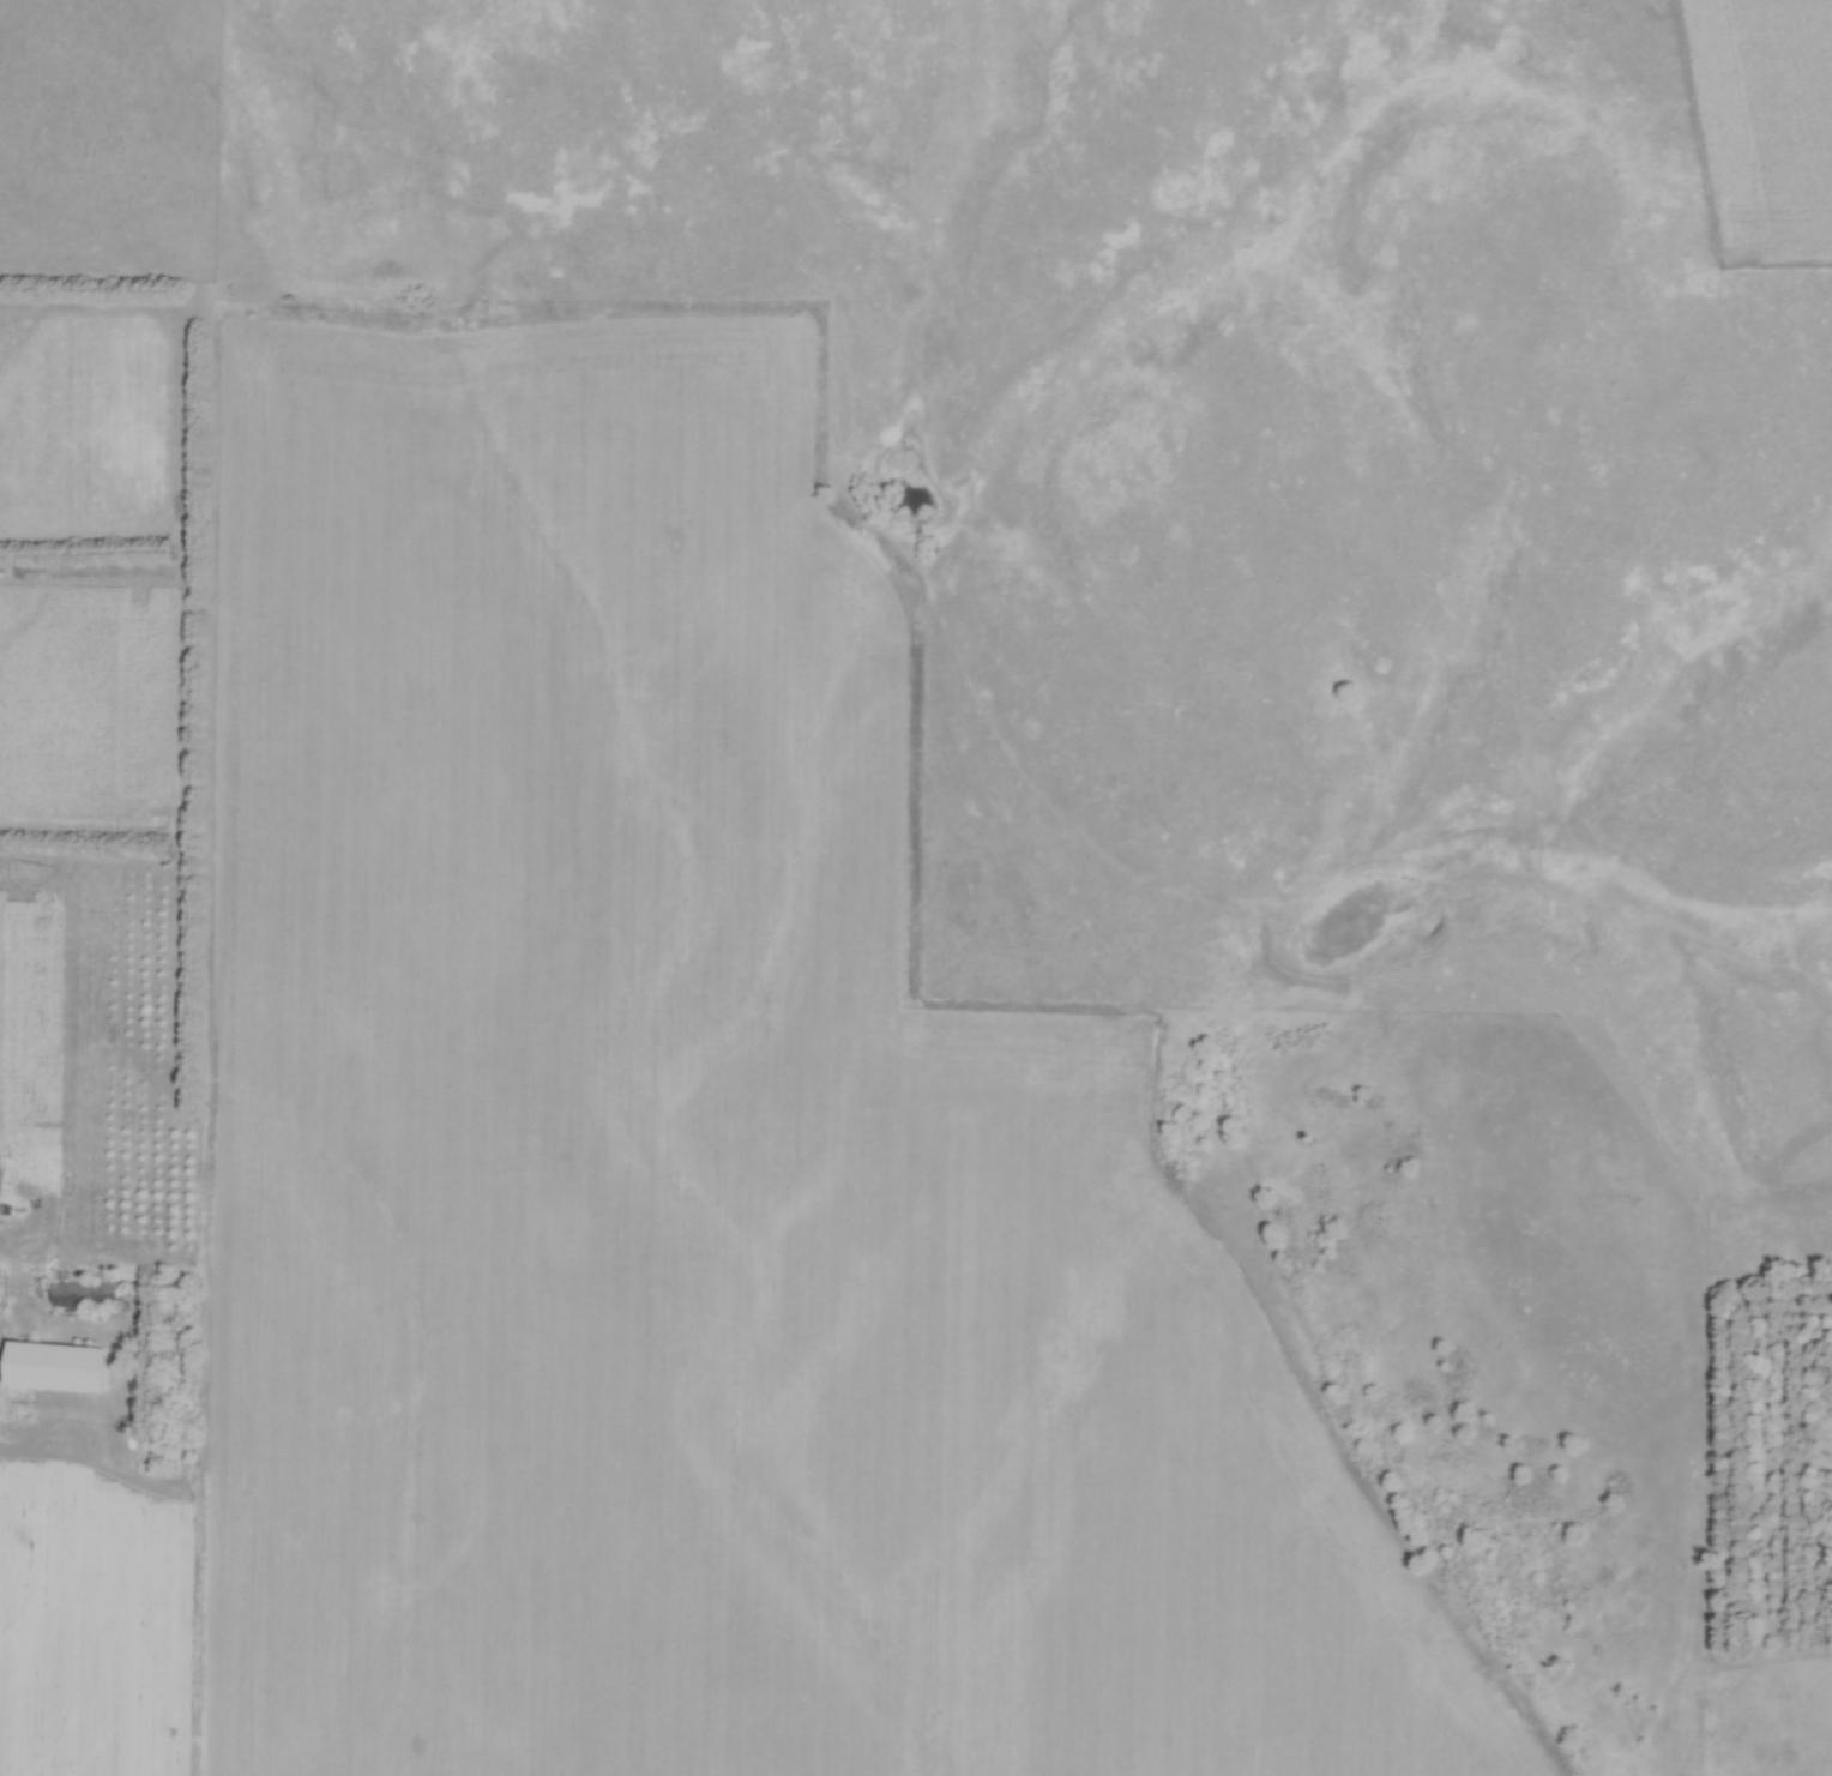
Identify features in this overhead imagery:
building: (85, 1296)

